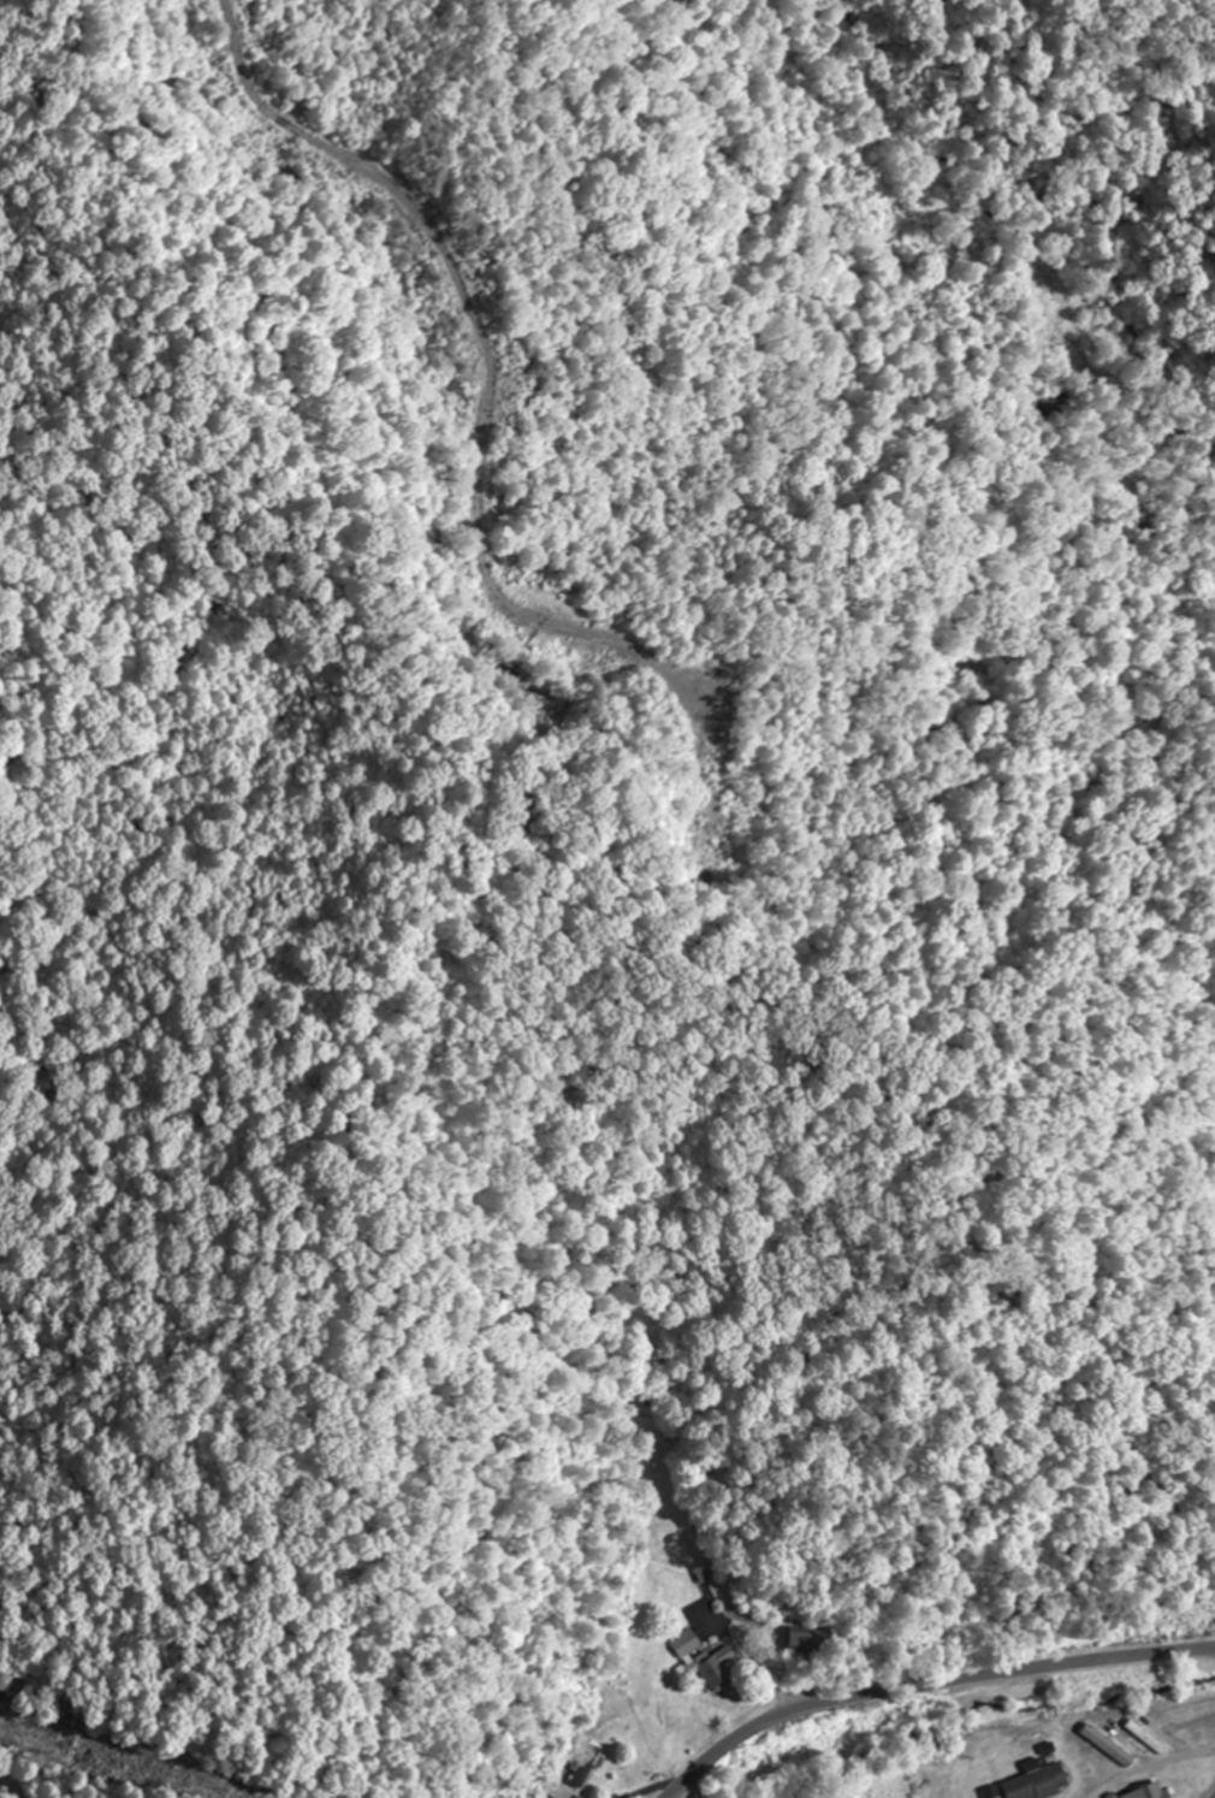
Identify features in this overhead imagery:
building: (799, 1640)
building: (710, 1669)
road: (924, 1686)
building: (583, 1764)
building: (1036, 1782)
building: (1146, 1791)
road: (0, 1797)
road: (1214, 1797)

